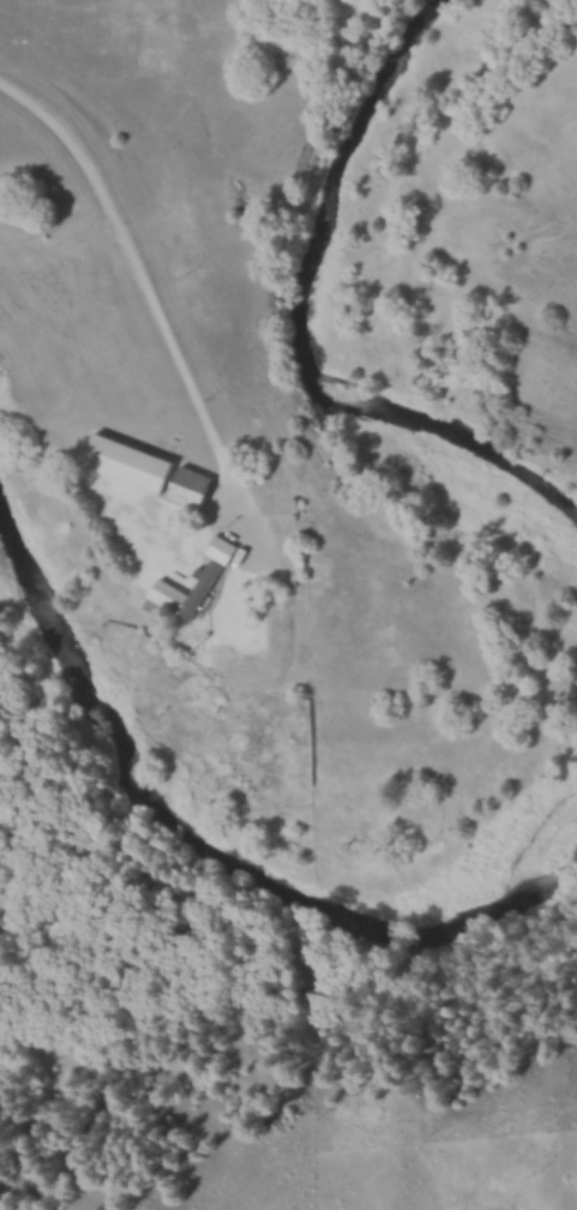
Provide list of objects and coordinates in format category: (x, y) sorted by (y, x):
road: (144, 302)
building: (154, 472)
building: (214, 579)

